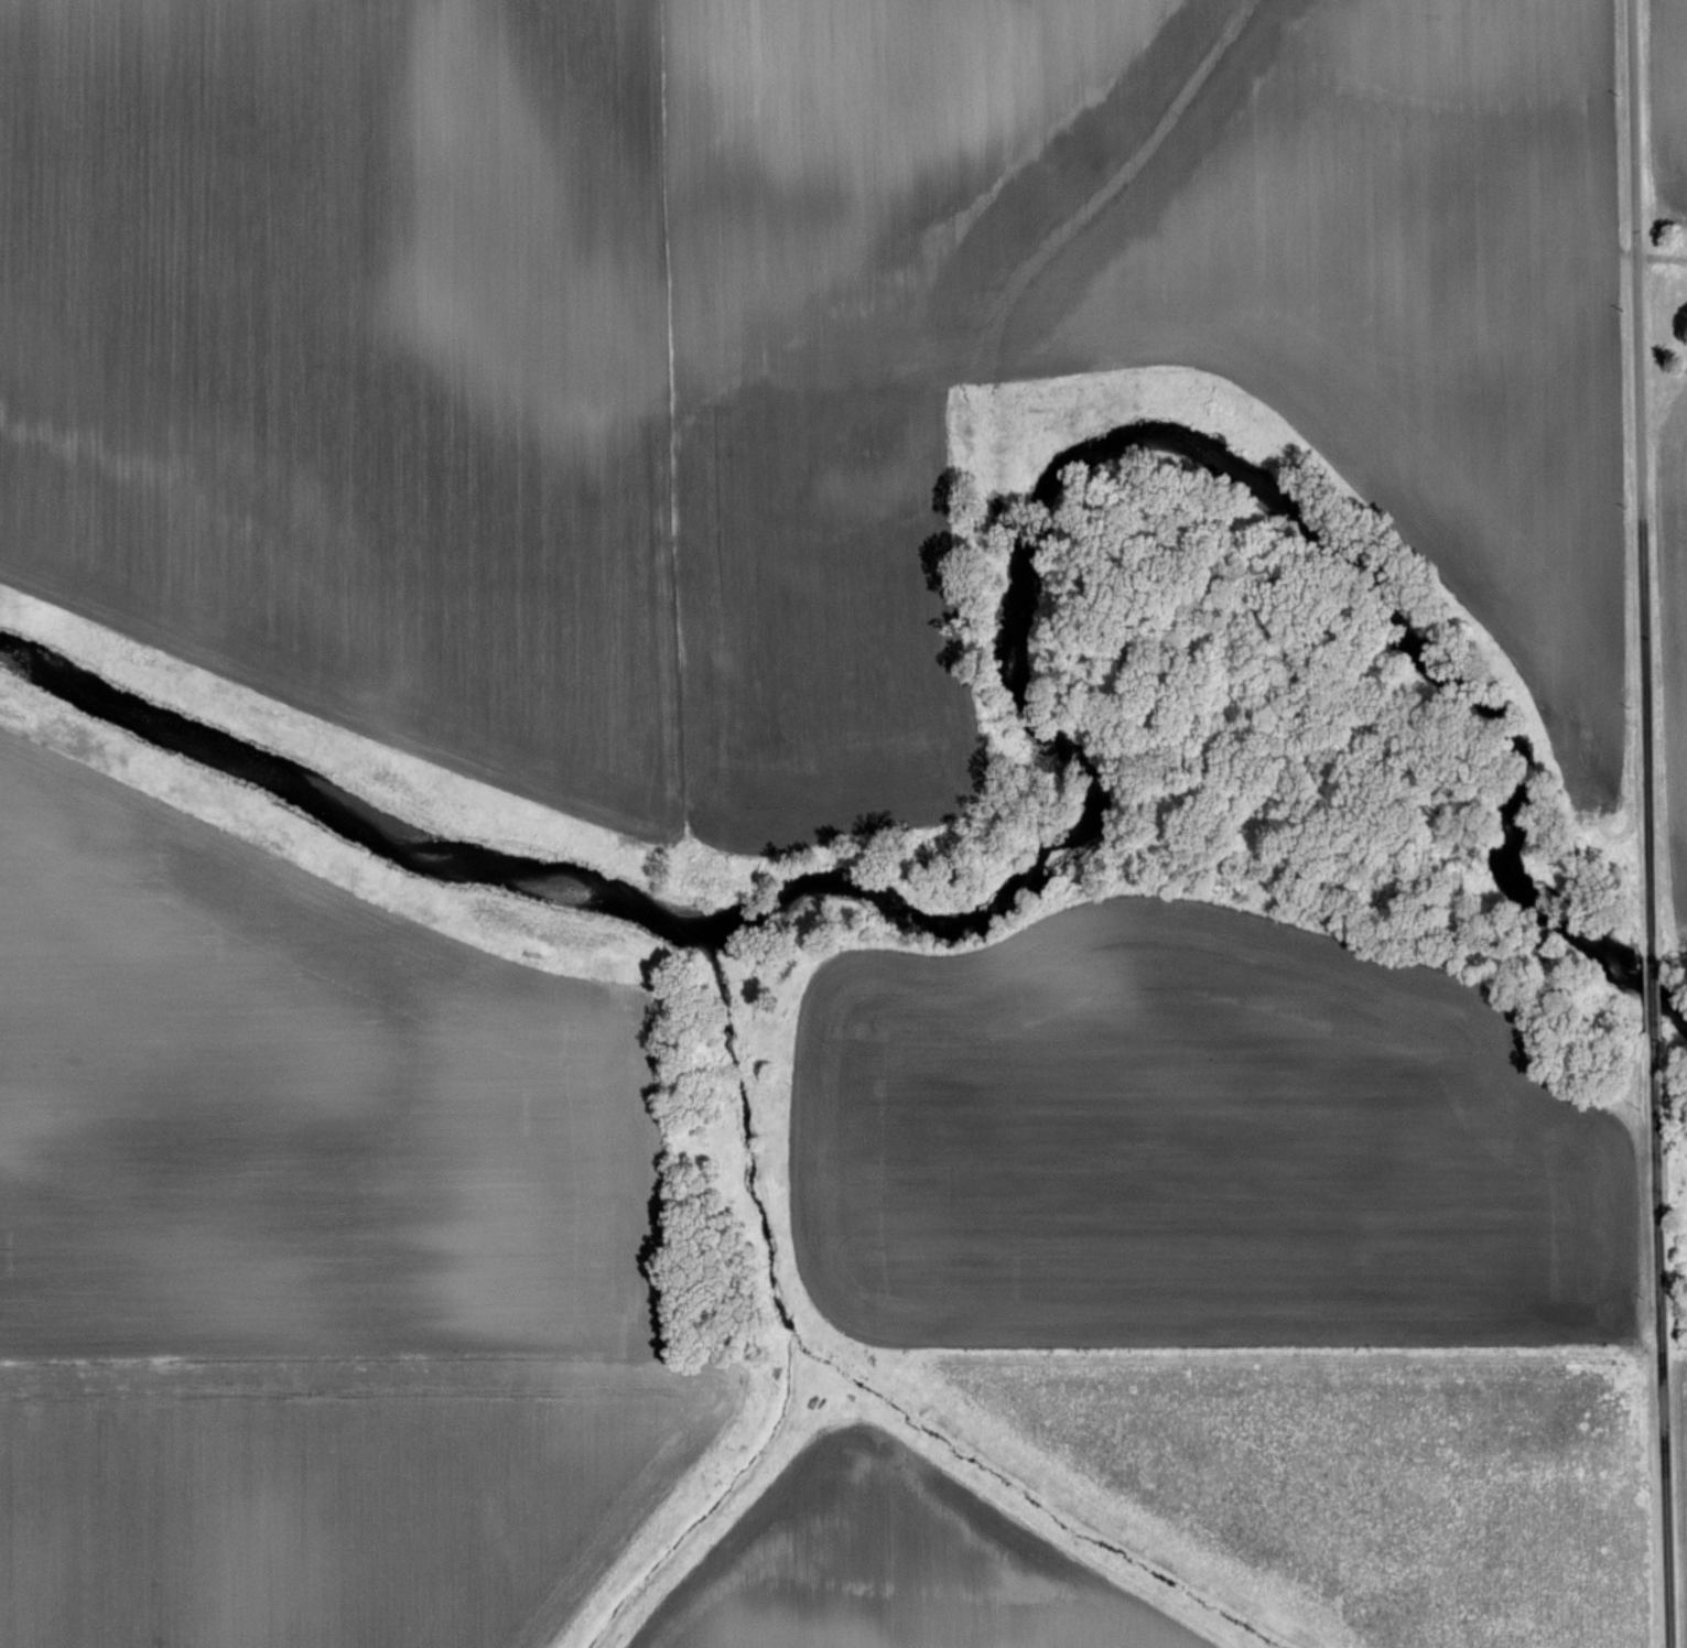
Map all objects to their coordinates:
crop: (1668, 107)
crop: (768, 350)
road: (1640, 477)
crop: (1675, 629)
road: (1651, 989)
crop: (1194, 1143)
crop: (311, 1254)
road: (1661, 1335)
crop: (1683, 1468)
crop: (893, 1566)

